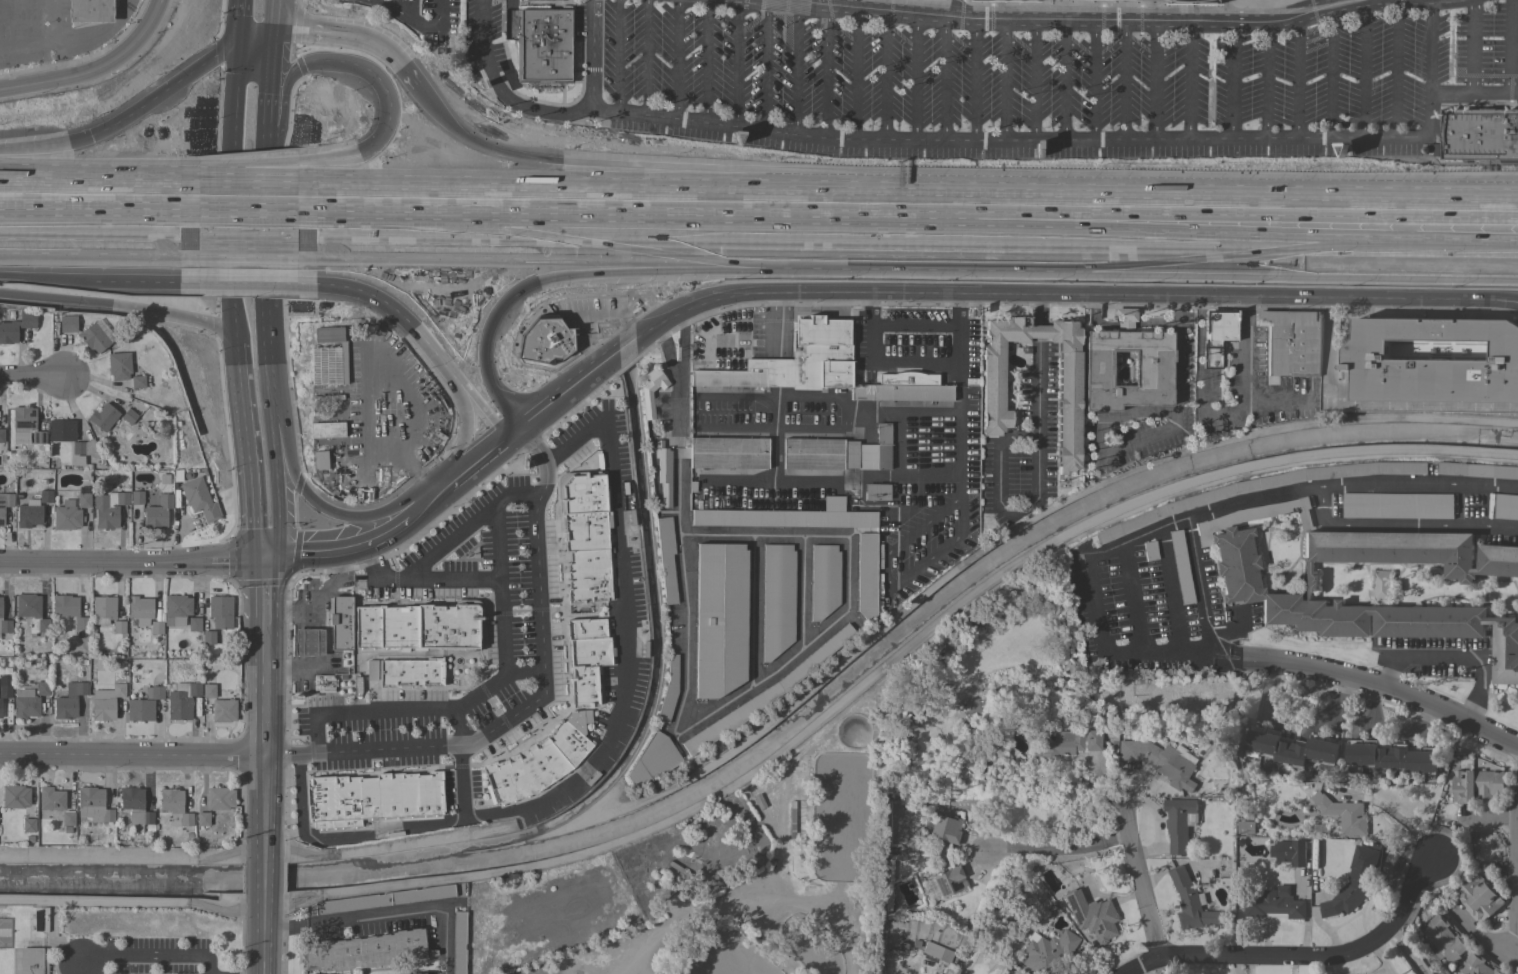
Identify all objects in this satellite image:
building: (1207, 1)
building: (90, 11)
road: (271, 18)
road: (412, 18)
road: (241, 20)
road: (1291, 20)
road: (979, 21)
road: (307, 34)
traffic signals: (270, 36)
road: (255, 38)
road: (59, 39)
road: (73, 41)
traffic signals: (240, 41)
road: (1430, 46)
road: (1471, 46)
road: (1510, 46)
building: (543, 47)
road: (378, 50)
road: (616, 56)
road: (645, 58)
road: (676, 59)
road: (704, 61)
road: (357, 62)
road: (735, 62)
road: (765, 64)
road: (95, 68)
road: (795, 68)
road: (1395, 68)
road: (195, 70)
road: (1363, 70)
road: (825, 71)
road: (855, 74)
road: (1330, 74)
road: (884, 76)
road: (914, 78)
road: (944, 79)
road: (1297, 79)
road: (974, 80)
road: (1004, 80)
road: (1034, 80)
road: (1064, 80)
road: (1154, 80)
road: (1189, 80)
road: (1231, 80)
road: (1093, 81)
road: (1123, 81)
road: (1266, 81)
road: (499, 93)
road: (265, 94)
road: (280, 109)
building: (1478, 134)
road: (1017, 140)
road: (67, 151)
road: (366, 161)
road: (698, 173)
road: (249, 182)
road: (170, 190)
road: (69, 194)
road: (169, 195)
road: (248, 196)
road: (1405, 199)
road: (655, 201)
road: (1152, 207)
road: (1405, 212)
railway: (759, 222)
road: (264, 226)
road: (99, 234)
road: (248, 236)
road: (558, 240)
road: (1143, 247)
road: (1493, 252)
road: (1493, 255)
road: (586, 266)
road: (99, 272)
road: (249, 273)
road: (364, 282)
road: (999, 293)
road: (235, 302)
road: (1038, 309)
road: (1176, 310)
road: (610, 311)
road: (1093, 311)
building: (68, 323)
road: (778, 325)
road: (1154, 326)
building: (16, 327)
road: (1124, 327)
road: (1105, 328)
road: (1038, 331)
road: (182, 332)
building: (1216, 335)
building: (94, 338)
building: (544, 340)
building: (1292, 342)
road: (432, 351)
road: (1200, 355)
building: (327, 356)
road: (881, 356)
road: (270, 358)
building: (1434, 361)
building: (118, 366)
building: (821, 366)
building: (1150, 369)
road: (676, 371)
road: (775, 373)
road: (1245, 373)
road: (32, 376)
building: (137, 382)
building: (1068, 382)
building: (651, 390)
road: (1277, 397)
road: (401, 399)
road: (1370, 403)
road: (479, 408)
road: (1173, 409)
road: (368, 412)
road: (862, 413)
building: (128, 416)
building: (103, 417)
road: (254, 417)
building: (25, 427)
building: (61, 430)
building: (325, 430)
road: (816, 430)
road: (468, 432)
road: (514, 435)
building: (2, 436)
building: (85, 448)
building: (728, 453)
building: (819, 454)
building: (882, 457)
building: (318, 459)
road: (478, 465)
road: (1036, 468)
building: (1478, 470)
building: (663, 472)
road: (910, 477)
road: (281, 481)
road: (958, 484)
road: (1361, 486)
building: (876, 492)
building: (45, 496)
building: (136, 497)
building: (199, 499)
building: (1198, 499)
building: (83, 500)
road: (430, 503)
building: (5, 505)
road: (318, 505)
building: (1397, 505)
building: (1506, 506)
building: (108, 509)
building: (158, 512)
building: (29, 514)
building: (66, 516)
building: (784, 519)
road: (1403, 526)
road: (676, 530)
building: (583, 537)
road: (444, 542)
building: (1150, 550)
road: (267, 552)
road: (289, 552)
road: (342, 553)
road: (1122, 553)
building: (666, 558)
road: (104, 561)
road: (235, 562)
traffic signals: (262, 562)
building: (1181, 567)
building: (866, 575)
road: (450, 580)
building: (823, 581)
road: (889, 584)
building: (1382, 585)
road: (1200, 589)
building: (1242, 589)
road: (1170, 592)
road: (262, 593)
building: (777, 599)
road: (315, 601)
road: (1093, 604)
building: (0, 607)
building: (103, 609)
building: (176, 609)
building: (68, 610)
building: (220, 612)
building: (32, 613)
building: (143, 614)
building: (720, 619)
building: (341, 623)
building: (193, 624)
building: (417, 625)
building: (5, 626)
building: (118, 627)
road: (624, 628)
road: (503, 635)
building: (208, 637)
building: (308, 642)
road: (1184, 656)
road: (1453, 657)
building: (585, 659)
fountain: (457, 661)
road: (289, 669)
building: (409, 674)
building: (324, 683)
road: (1377, 686)
building: (42, 688)
building: (669, 690)
building: (208, 691)
building: (154, 692)
building: (4, 693)
building: (764, 694)
building: (181, 700)
road: (536, 700)
building: (24, 701)
building: (68, 701)
building: (104, 703)
building: (974, 706)
building: (140, 710)
building: (222, 710)
road: (363, 711)
park: (853, 731)
building: (1063, 743)
building: (1292, 748)
road: (133, 756)
building: (1391, 757)
building: (652, 759)
building: (1160, 761)
building: (535, 764)
building: (1477, 785)
building: (14, 796)
building: (371, 797)
building: (219, 798)
building: (51, 799)
road: (265, 799)
building: (174, 804)
building: (93, 805)
building: (135, 808)
building: (1344, 814)
park: (841, 817)
building: (791, 818)
building: (67, 819)
building: (202, 819)
road: (1158, 823)
building: (1180, 823)
building: (28, 825)
building: (945, 829)
road: (377, 831)
road: (1117, 837)
road: (1047, 848)
building: (1290, 852)
road: (133, 856)
road: (1138, 876)
park: (719, 878)
building: (950, 881)
building: (1354, 883)
road: (1515, 887)
building: (1479, 897)
building: (383, 899)
road: (743, 900)
building: (1192, 901)
building: (1275, 904)
road: (389, 912)
building: (1091, 915)
building: (44, 919)
building: (36, 921)
building: (1443, 938)
road: (1482, 940)
building: (458, 942)
park: (810, 945)
building: (364, 951)
building: (1047, 951)
road: (1406, 951)
building: (937, 952)
park: (715, 954)
road: (1515, 954)
parking lot: (137, 956)
road: (1298, 956)
road: (149, 958)
building: (33, 961)
building: (1478, 965)
building: (1516, 973)

